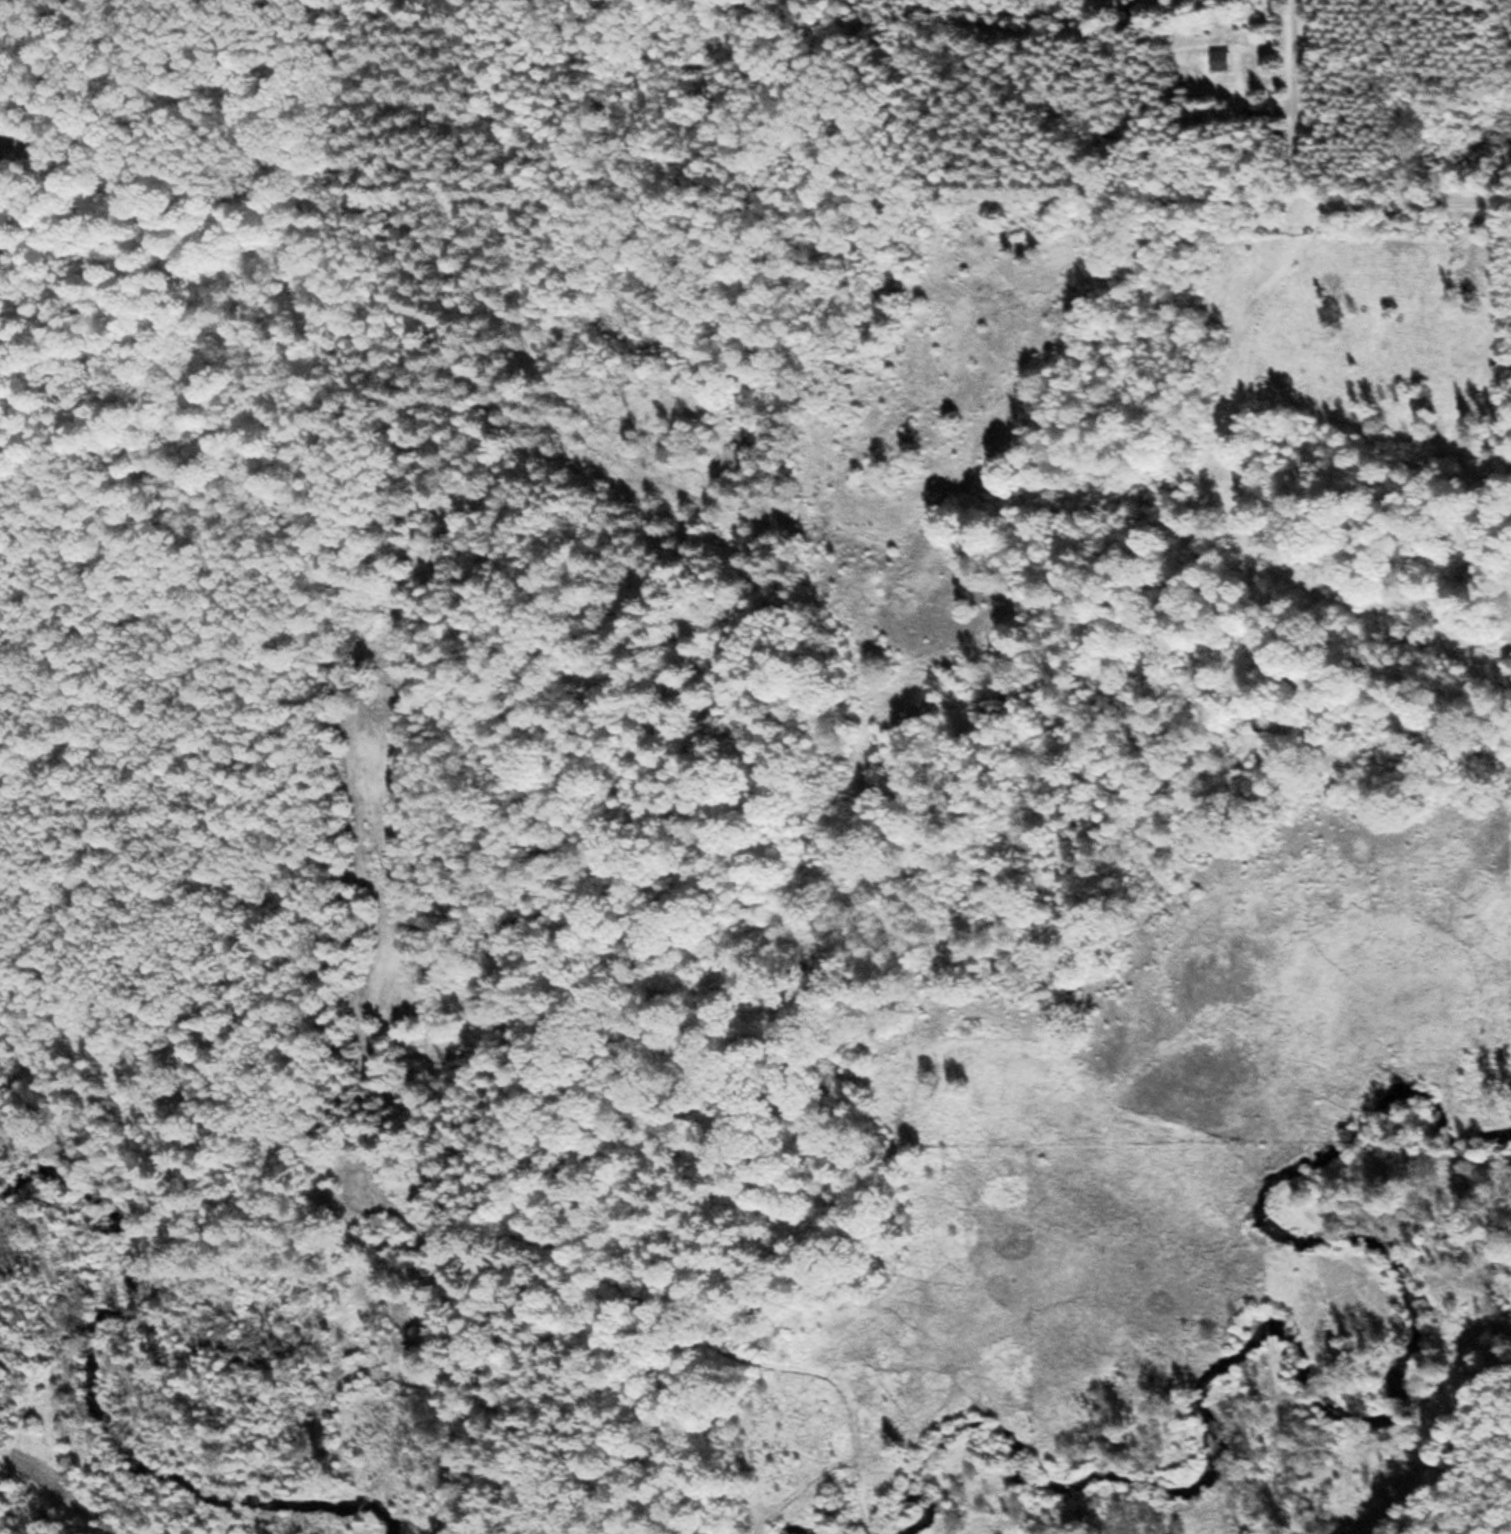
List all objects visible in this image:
building: (1217, 60)

